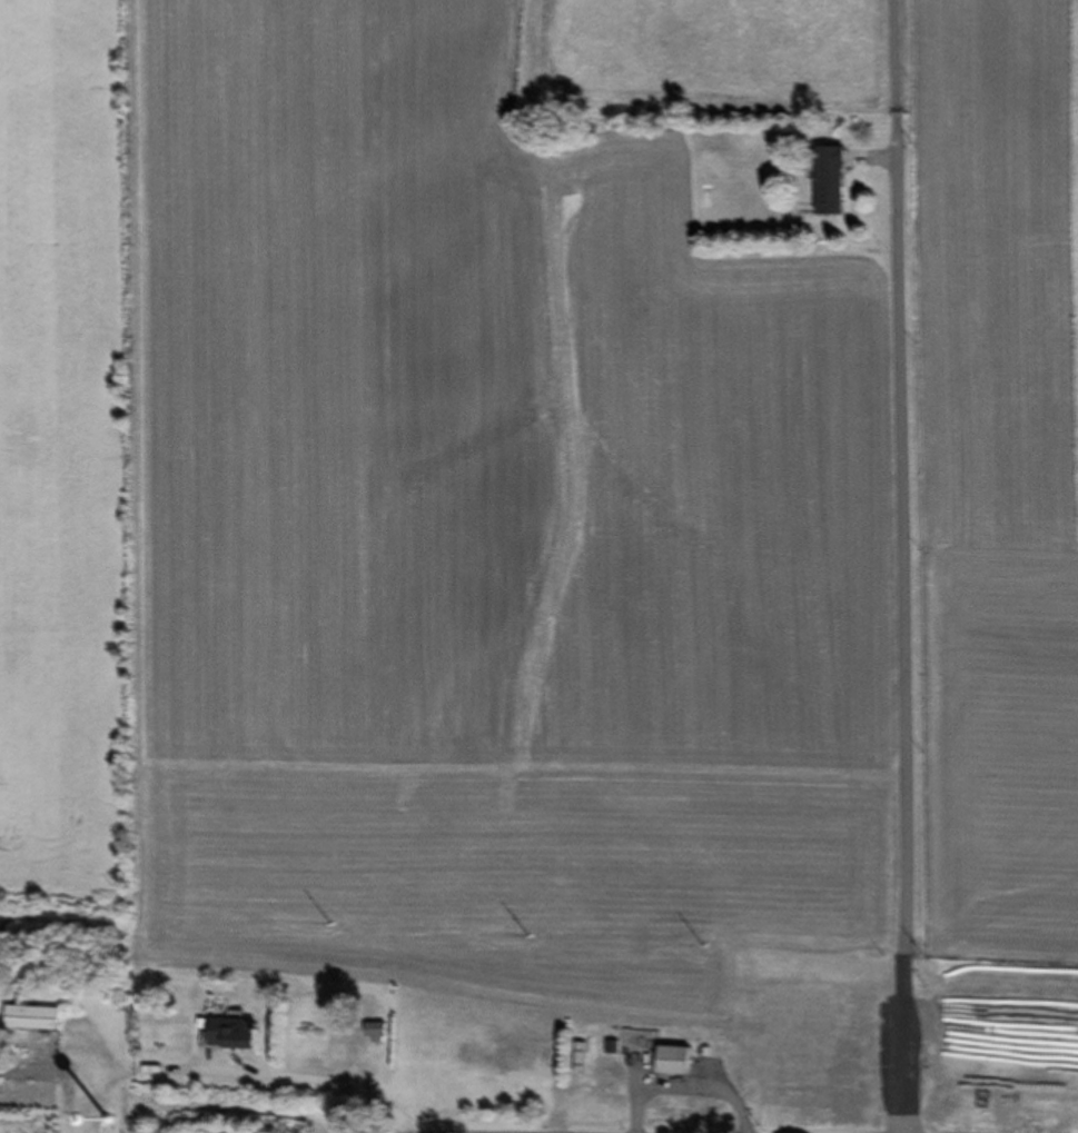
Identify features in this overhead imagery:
building: (828, 182)
road: (897, 566)
building: (29, 1016)
building: (374, 1033)
building: (230, 1034)
building: (671, 1061)
road: (30, 1070)
water tower: (106, 1122)

